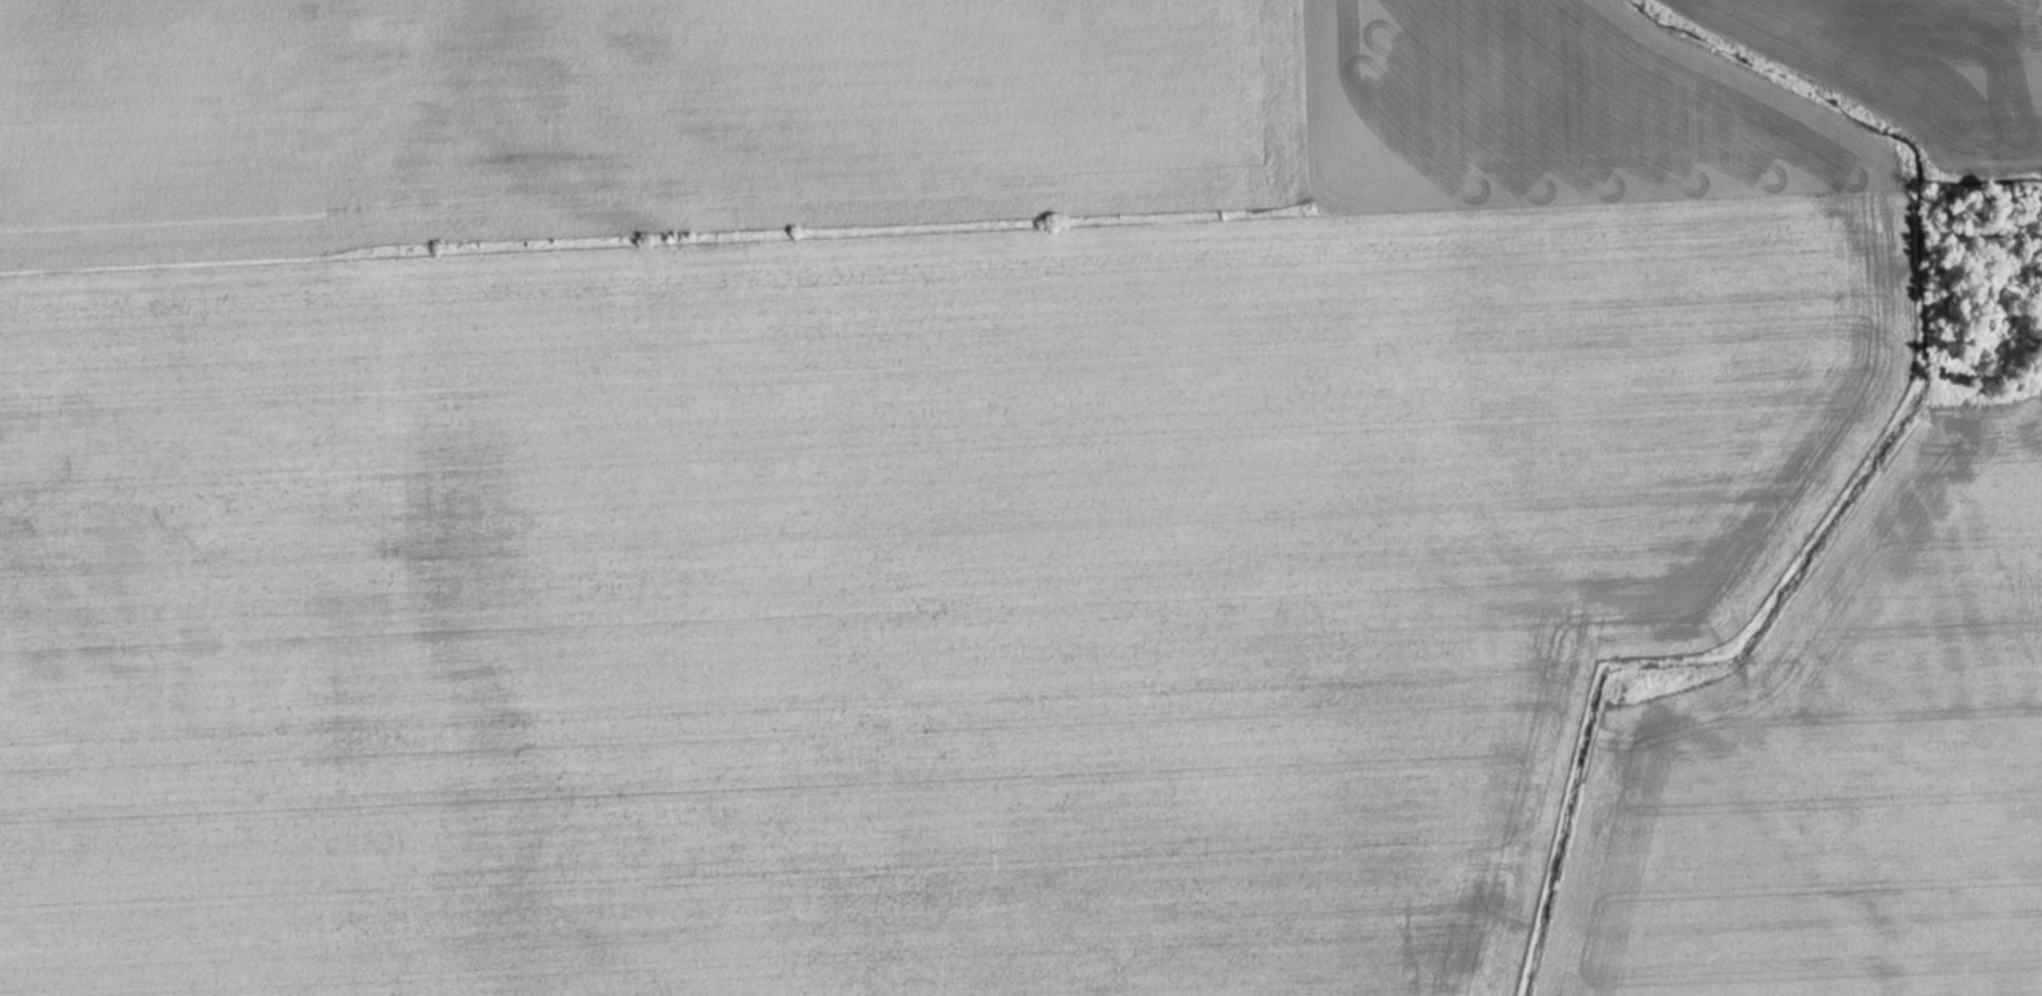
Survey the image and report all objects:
crop: (1007, 500)

